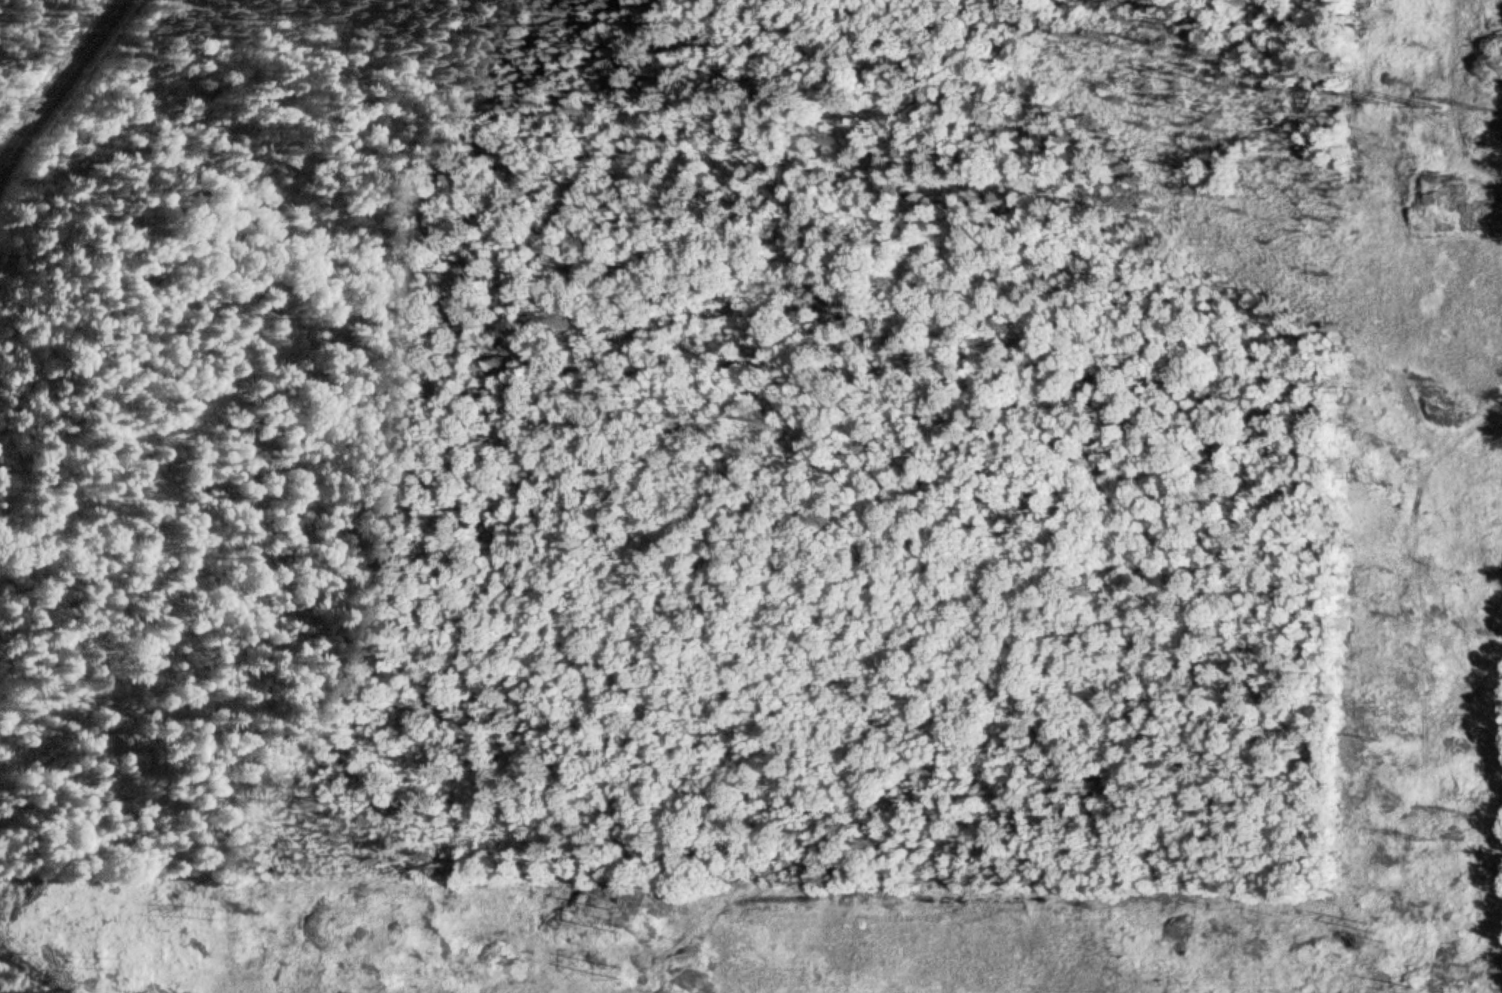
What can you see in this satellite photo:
road: (62, 79)
road: (1196, 353)

